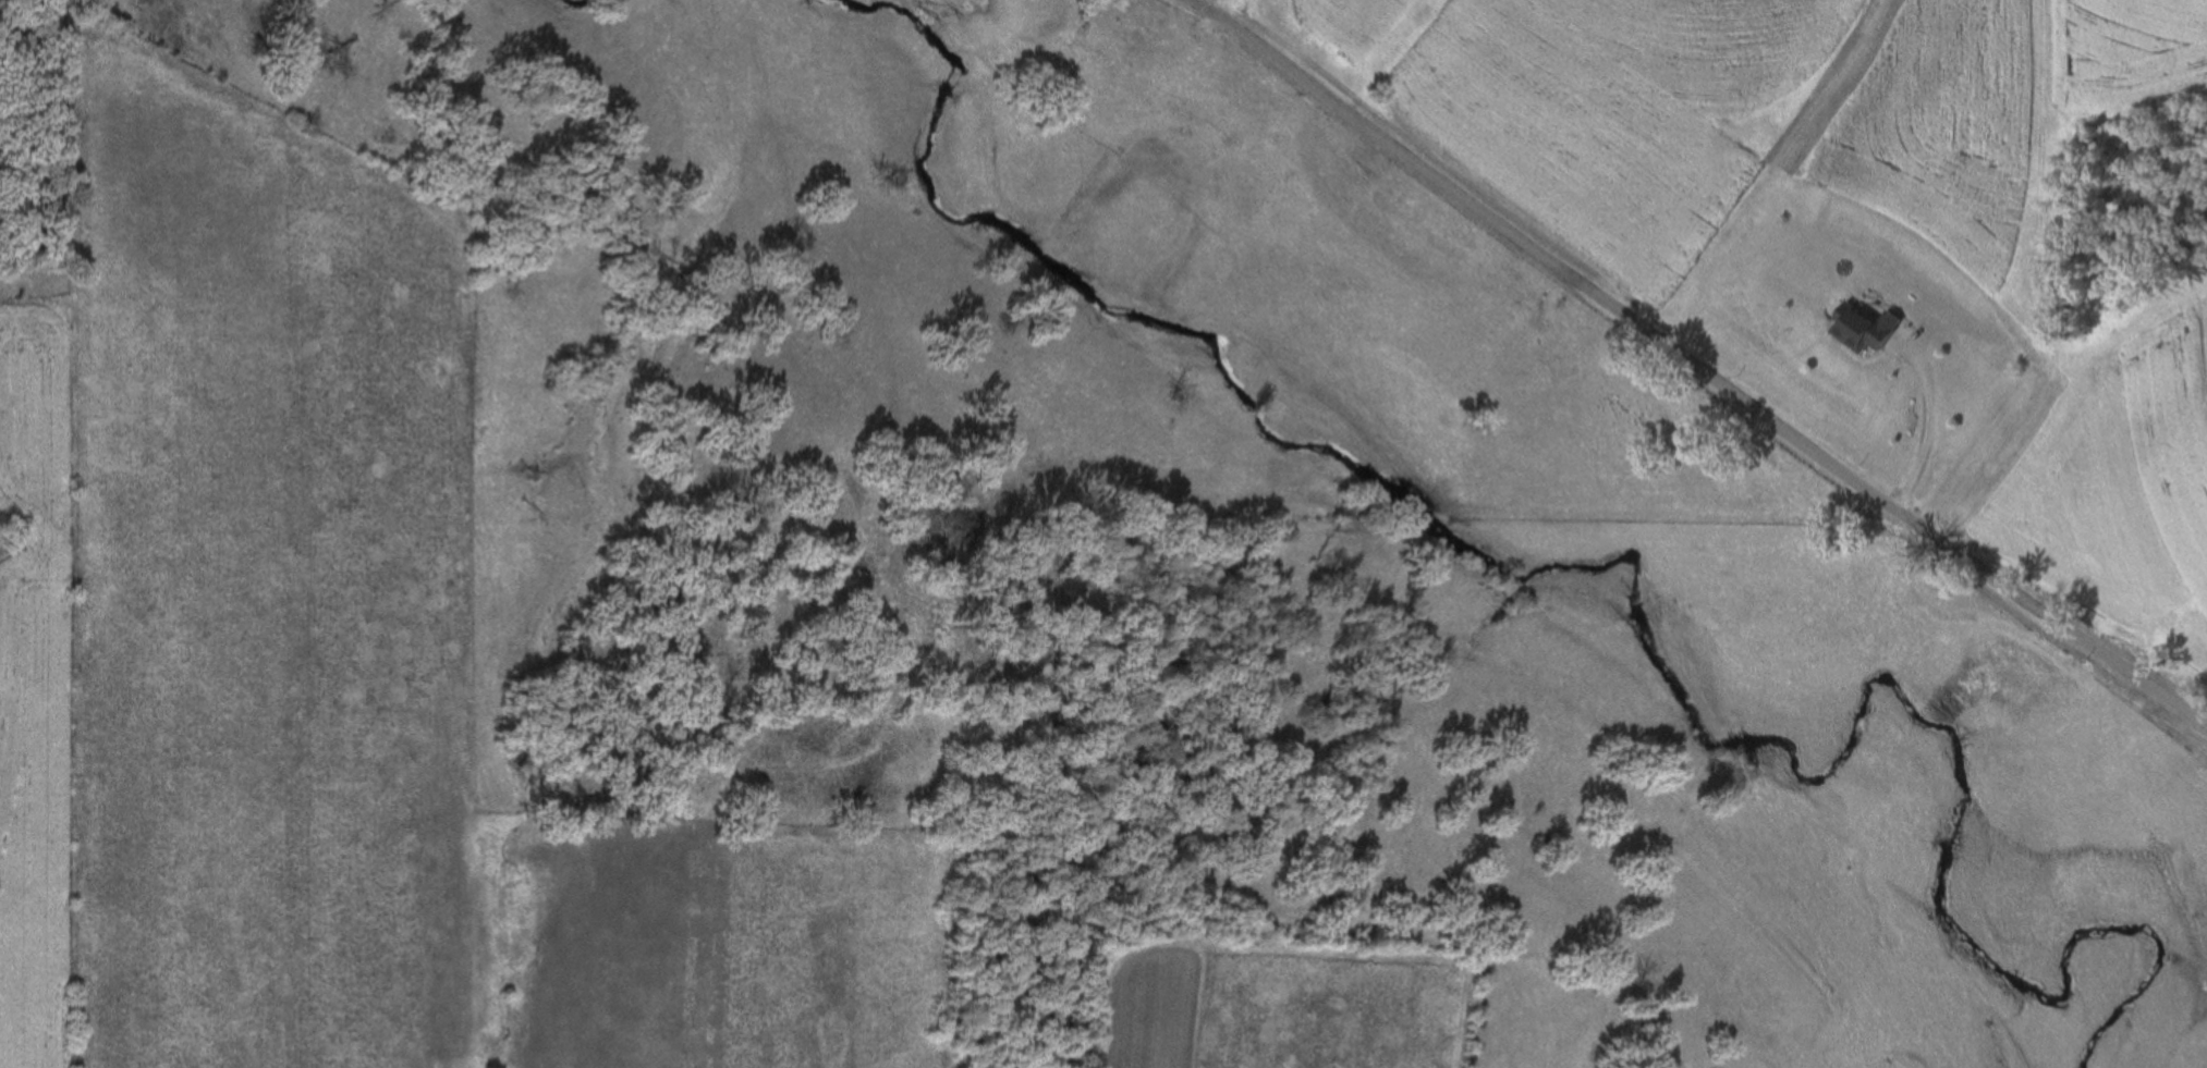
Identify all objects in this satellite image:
building: (1864, 331)
road: (1695, 367)
road: (1930, 432)

